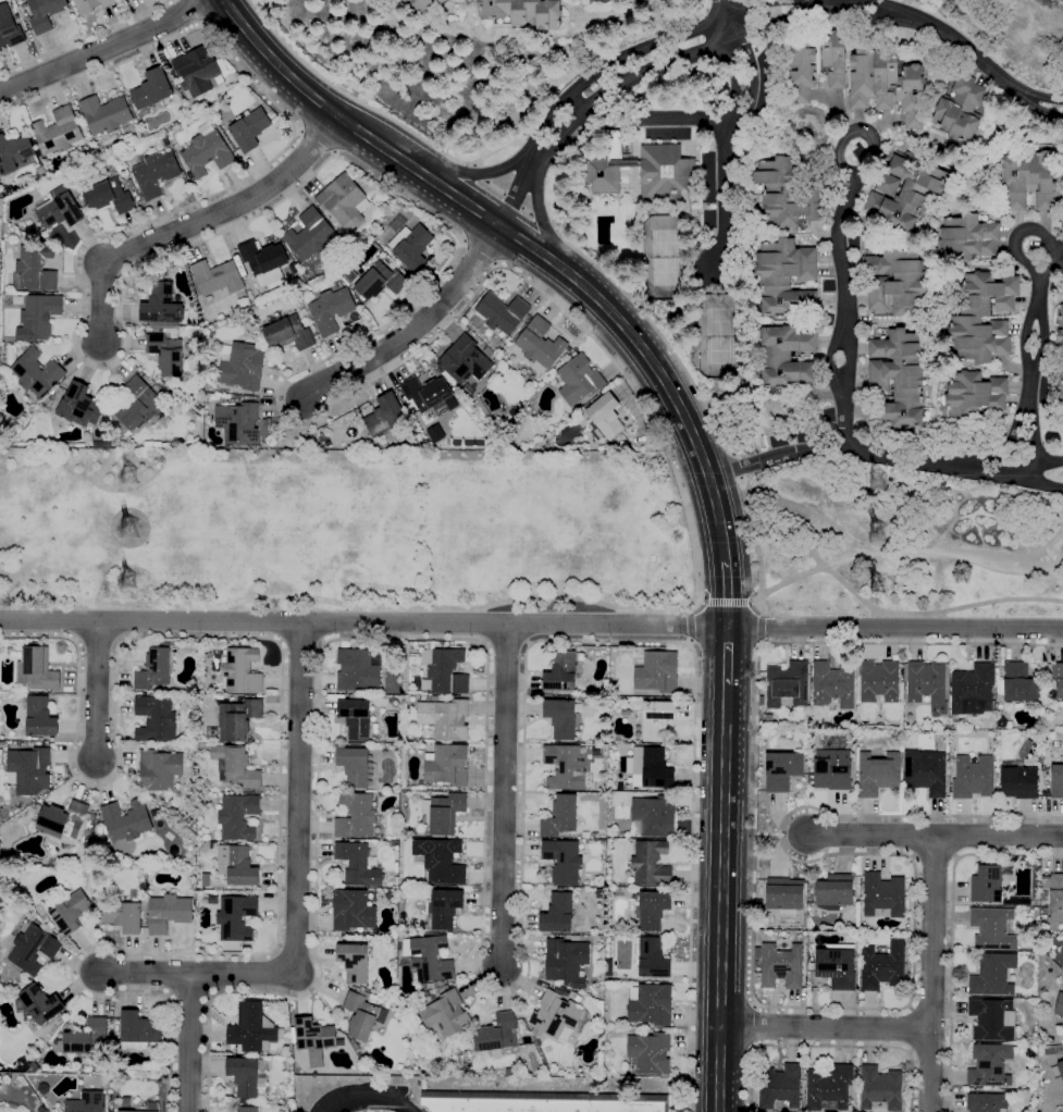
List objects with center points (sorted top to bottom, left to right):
building: (435, 0)
building: (448, 0)
building: (440, 1)
building: (90, 5)
building: (417, 5)
building: (522, 12)
building: (44, 13)
road: (195, 13)
road: (719, 13)
road: (750, 18)
building: (9, 28)
road: (82, 37)
road: (103, 47)
building: (197, 70)
building: (800, 72)
building: (873, 78)
building: (150, 89)
road: (371, 108)
road: (743, 108)
building: (959, 110)
building: (270, 115)
building: (104, 116)
building: (247, 128)
building: (57, 132)
road: (518, 145)
building: (206, 151)
building: (13, 153)
road: (534, 157)
road: (528, 158)
road: (473, 165)
road: (549, 169)
building: (642, 171)
building: (156, 173)
building: (353, 175)
building: (1026, 178)
building: (128, 184)
building: (886, 184)
road: (724, 187)
building: (786, 194)
building: (911, 194)
building: (108, 197)
road: (511, 200)
building: (342, 201)
building: (60, 209)
road: (194, 222)
road: (556, 230)
building: (309, 235)
building: (966, 238)
road: (523, 243)
building: (411, 246)
park: (665, 258)
building: (262, 261)
building: (34, 269)
building: (293, 269)
building: (217, 277)
building: (784, 277)
building: (894, 280)
building: (378, 281)
road: (841, 296)
building: (161, 307)
road: (636, 307)
building: (330, 310)
building: (502, 312)
building: (37, 318)
building: (965, 319)
building: (1058, 326)
road: (416, 328)
building: (286, 333)
park: (717, 335)
building: (539, 344)
road: (1034, 347)
building: (166, 351)
building: (786, 357)
building: (466, 360)
building: (242, 367)
road: (308, 369)
building: (35, 375)
building: (578, 380)
building: (898, 380)
building: (160, 383)
building: (422, 393)
building: (1060, 393)
building: (973, 395)
building: (57, 397)
building: (467, 401)
building: (137, 405)
building: (78, 406)
building: (383, 416)
building: (604, 418)
building: (263, 421)
building: (103, 422)
building: (237, 423)
building: (111, 428)
building: (619, 435)
building: (100, 444)
building: (621, 445)
road: (882, 454)
road: (736, 466)
power tower: (135, 472)
power tower: (885, 477)
power tower: (135, 530)
power tower: (880, 530)
park: (514, 534)
road: (943, 552)
power tower: (136, 582)
power tower: (882, 585)
road: (851, 591)
road: (726, 594)
road: (756, 601)
road: (725, 602)
road: (761, 603)
road: (531, 623)
road: (690, 625)
road: (761, 627)
road: (759, 643)
road: (300, 644)
road: (727, 655)
building: (207, 656)
building: (154, 668)
building: (36, 670)
building: (356, 670)
building: (240, 671)
building: (443, 671)
building: (656, 671)
building: (560, 672)
building: (1058, 678)
building: (879, 681)
building: (926, 684)
building: (1017, 684)
building: (787, 685)
building: (831, 687)
road: (96, 690)
building: (972, 690)
building: (347, 693)
building: (355, 697)
building: (999, 713)
building: (39, 718)
building: (355, 718)
building: (444, 718)
building: (560, 718)
building: (154, 719)
building: (237, 719)
building: (655, 719)
building: (767, 719)
building: (800, 720)
building: (999, 724)
building: (951, 726)
building: (766, 736)
building: (813, 736)
building: (1005, 737)
road: (280, 742)
building: (1055, 743)
building: (355, 745)
building: (190, 758)
building: (445, 765)
building: (235, 766)
building: (354, 766)
building: (564, 767)
building: (27, 768)
building: (653, 768)
building: (158, 770)
building: (781, 771)
building: (877, 774)
building: (925, 774)
building: (830, 775)
building: (972, 778)
building: (1017, 780)
building: (1056, 781)
road: (504, 795)
building: (154, 813)
building: (443, 813)
building: (355, 816)
building: (237, 817)
building: (559, 817)
building: (652, 817)
building: (61, 820)
building: (125, 820)
road: (765, 832)
building: (211, 836)
building: (594, 836)
building: (616, 836)
building: (585, 837)
road: (869, 837)
road: (998, 840)
building: (394, 843)
building: (212, 845)
road: (296, 849)
building: (440, 861)
building: (561, 861)
building: (650, 863)
building: (357, 865)
building: (236, 866)
building: (145, 880)
building: (205, 880)
building: (586, 880)
building: (987, 884)
building: (400, 888)
building: (370, 889)
building: (558, 889)
building: (833, 892)
building: (1054, 894)
building: (133, 895)
building: (633, 895)
building: (783, 895)
building: (882, 895)
road: (724, 898)
building: (94, 901)
building: (1017, 902)
building: (758, 903)
building: (443, 909)
building: (651, 910)
building: (67, 911)
building: (351, 911)
building: (1043, 911)
building: (166, 913)
building: (557, 914)
building: (122, 916)
building: (235, 918)
building: (49, 925)
building: (852, 925)
building: (212, 927)
building: (1056, 927)
building: (900, 928)
building: (992, 929)
road: (951, 931)
building: (577, 937)
building: (33, 949)
building: (236, 949)
building: (809, 953)
building: (428, 957)
road: (477, 959)
building: (652, 959)
building: (353, 962)
building: (566, 962)
building: (779, 965)
building: (837, 965)
building: (882, 966)
building: (608, 967)
road: (144, 973)
building: (992, 975)
road: (930, 976)
building: (436, 984)
building: (443, 984)
building: (21, 986)
building: (429, 986)
building: (422, 987)
building: (424, 994)
building: (573, 997)
building: (38, 1004)
building: (651, 1005)
building: (1059, 1005)
road: (799, 1008)
building: (362, 1014)
building: (445, 1017)
building: (556, 1017)
building: (991, 1020)
road: (826, 1026)
building: (1062, 1026)
road: (754, 1027)
building: (252, 1029)
building: (137, 1030)
building: (496, 1036)
building: (86, 1037)
building: (161, 1038)
building: (312, 1039)
road: (189, 1042)
road: (829, 1046)
building: (469, 1047)
building: (1062, 1049)
building: (539, 1050)
building: (648, 1053)
building: (1041, 1057)
building: (519, 1062)
building: (989, 1065)
building: (509, 1073)
building: (574, 1073)
building: (1056, 1074)
building: (247, 1076)
building: (107, 1080)
building: (780, 1086)
building: (42, 1088)
building: (828, 1088)
building: (880, 1088)
road: (371, 1097)
building: (86, 1102)
building: (541, 1102)
building: (985, 1102)
building: (246, 1109)
building: (41, 1110)
building: (141, 1111)

